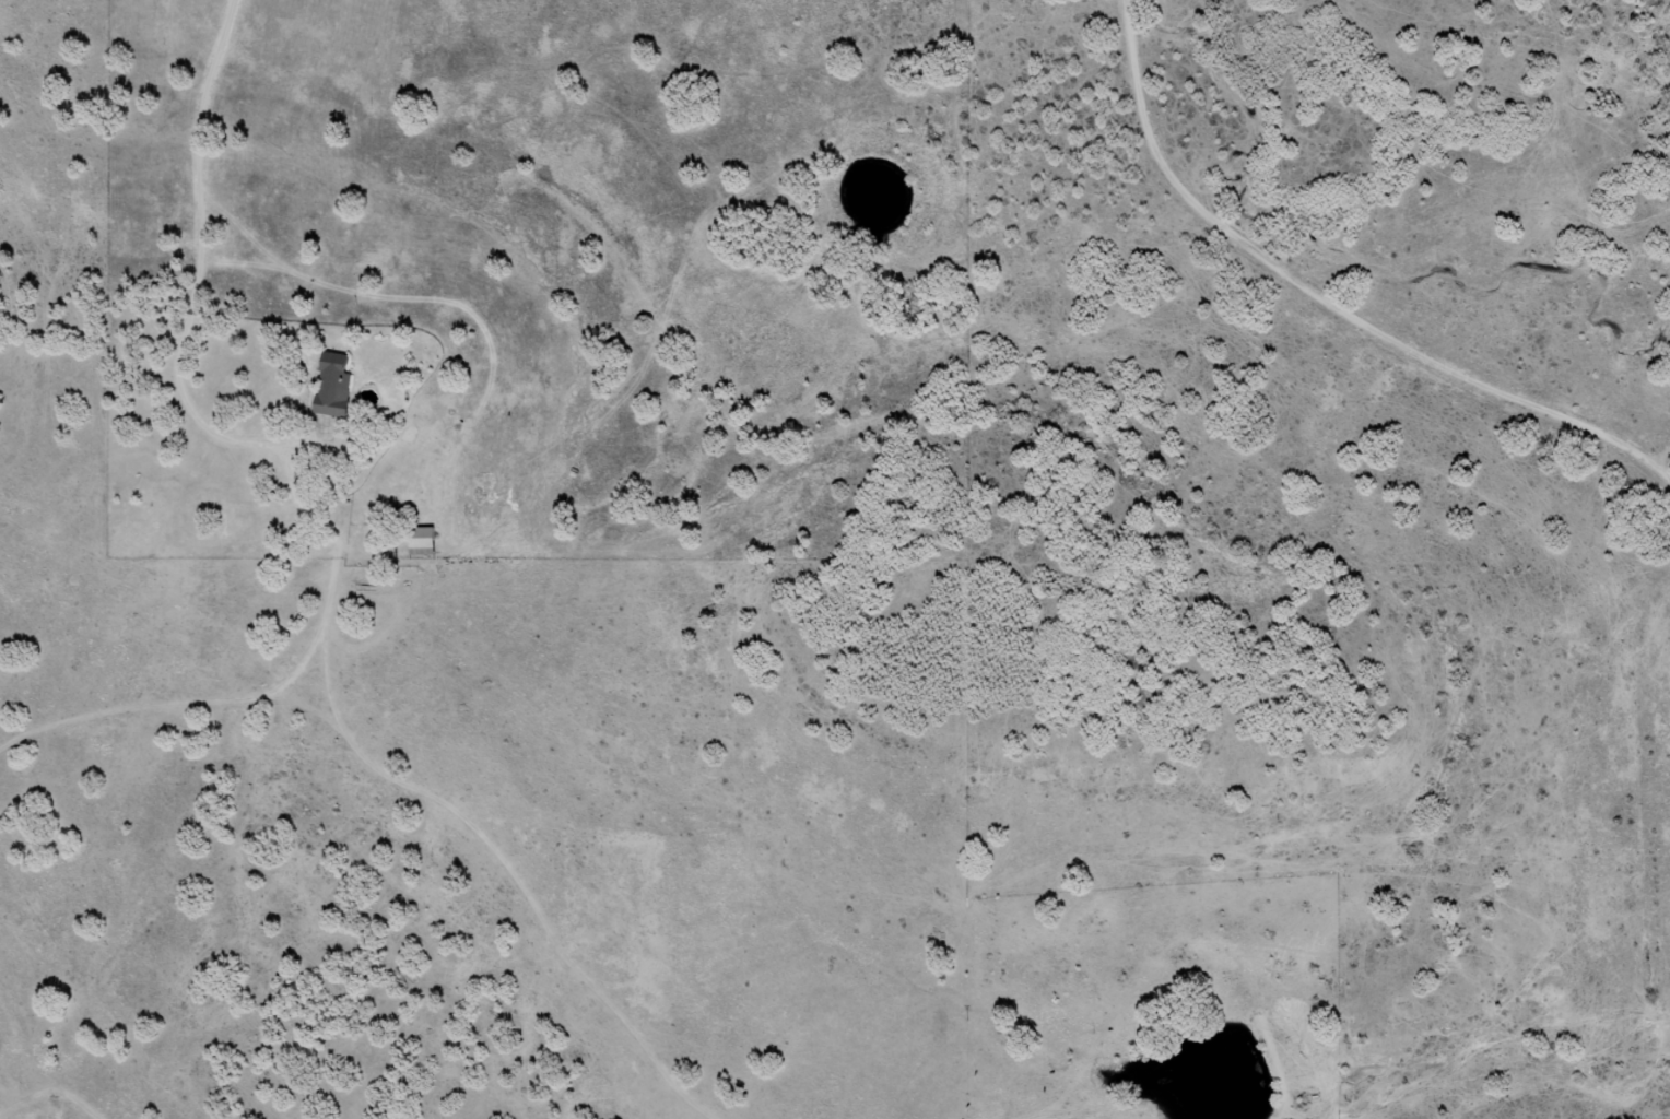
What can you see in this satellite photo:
building: (336, 384)
building: (424, 541)
road: (397, 651)

